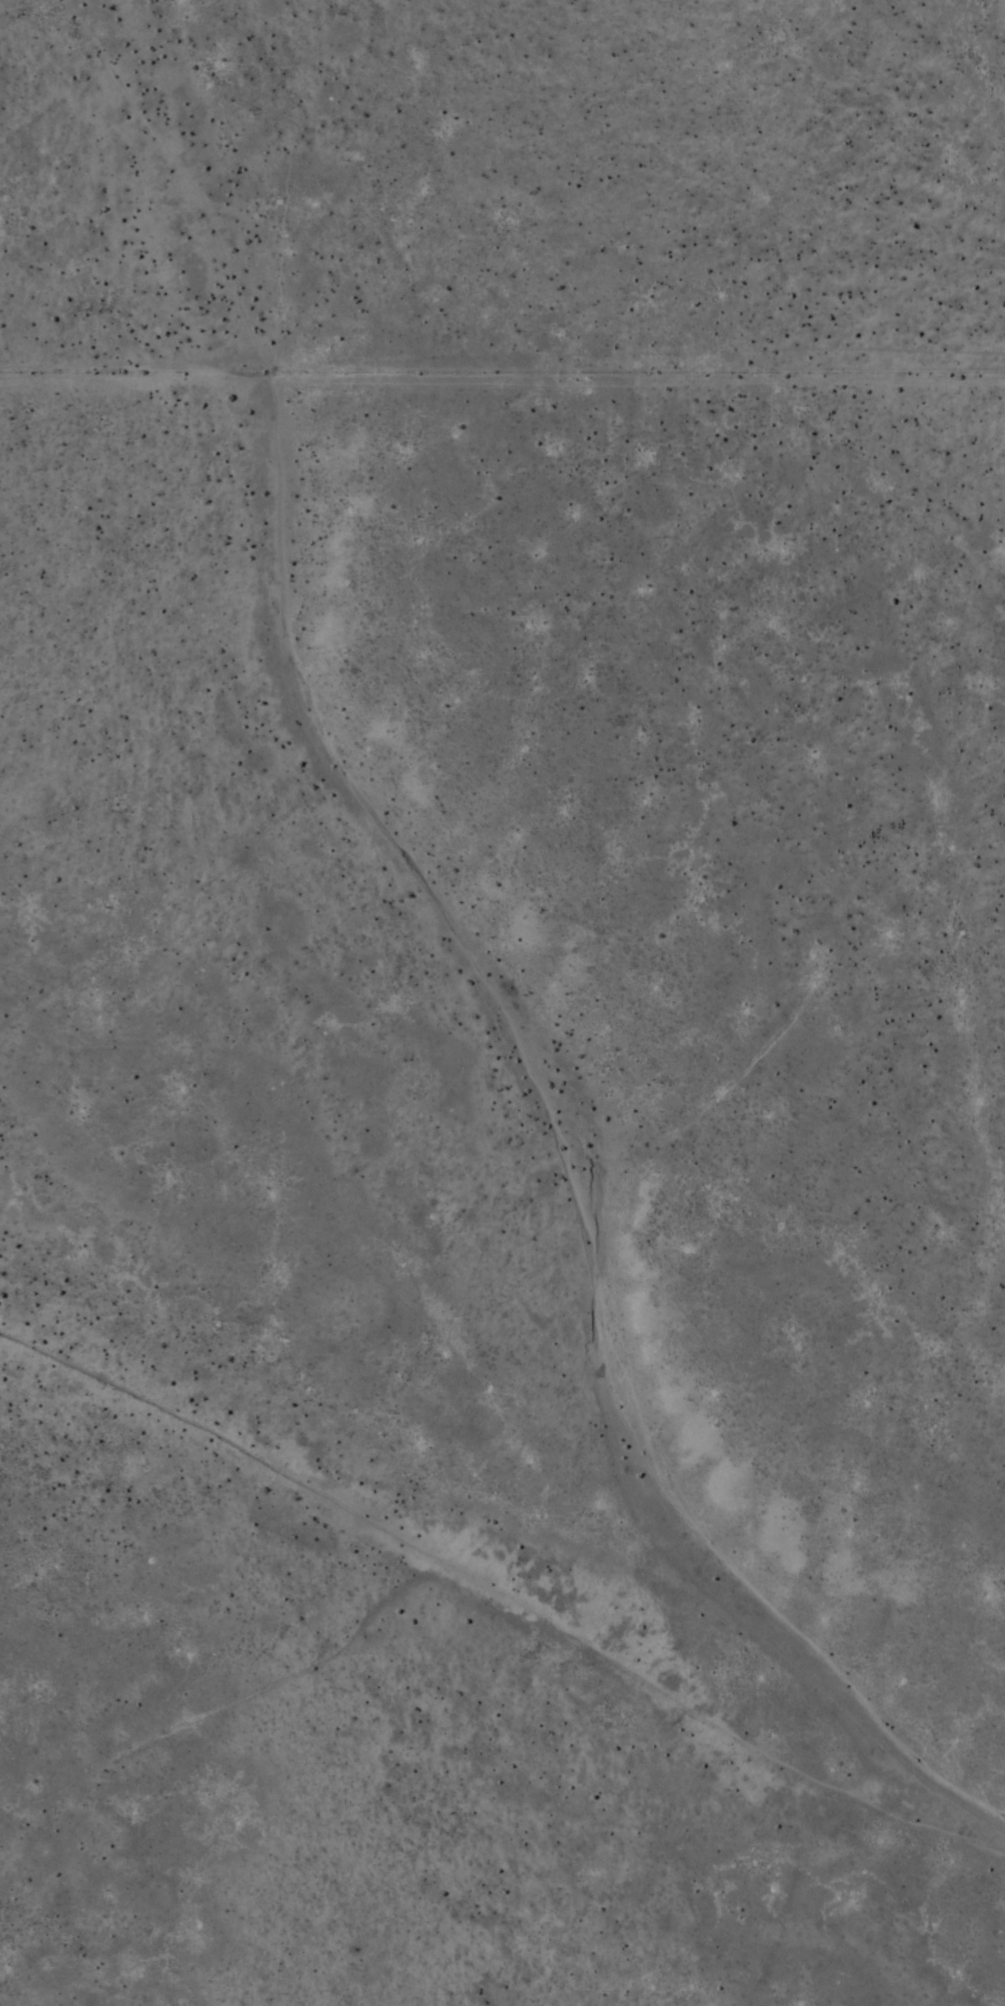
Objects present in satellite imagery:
road: (15, 28)
road: (502, 370)

